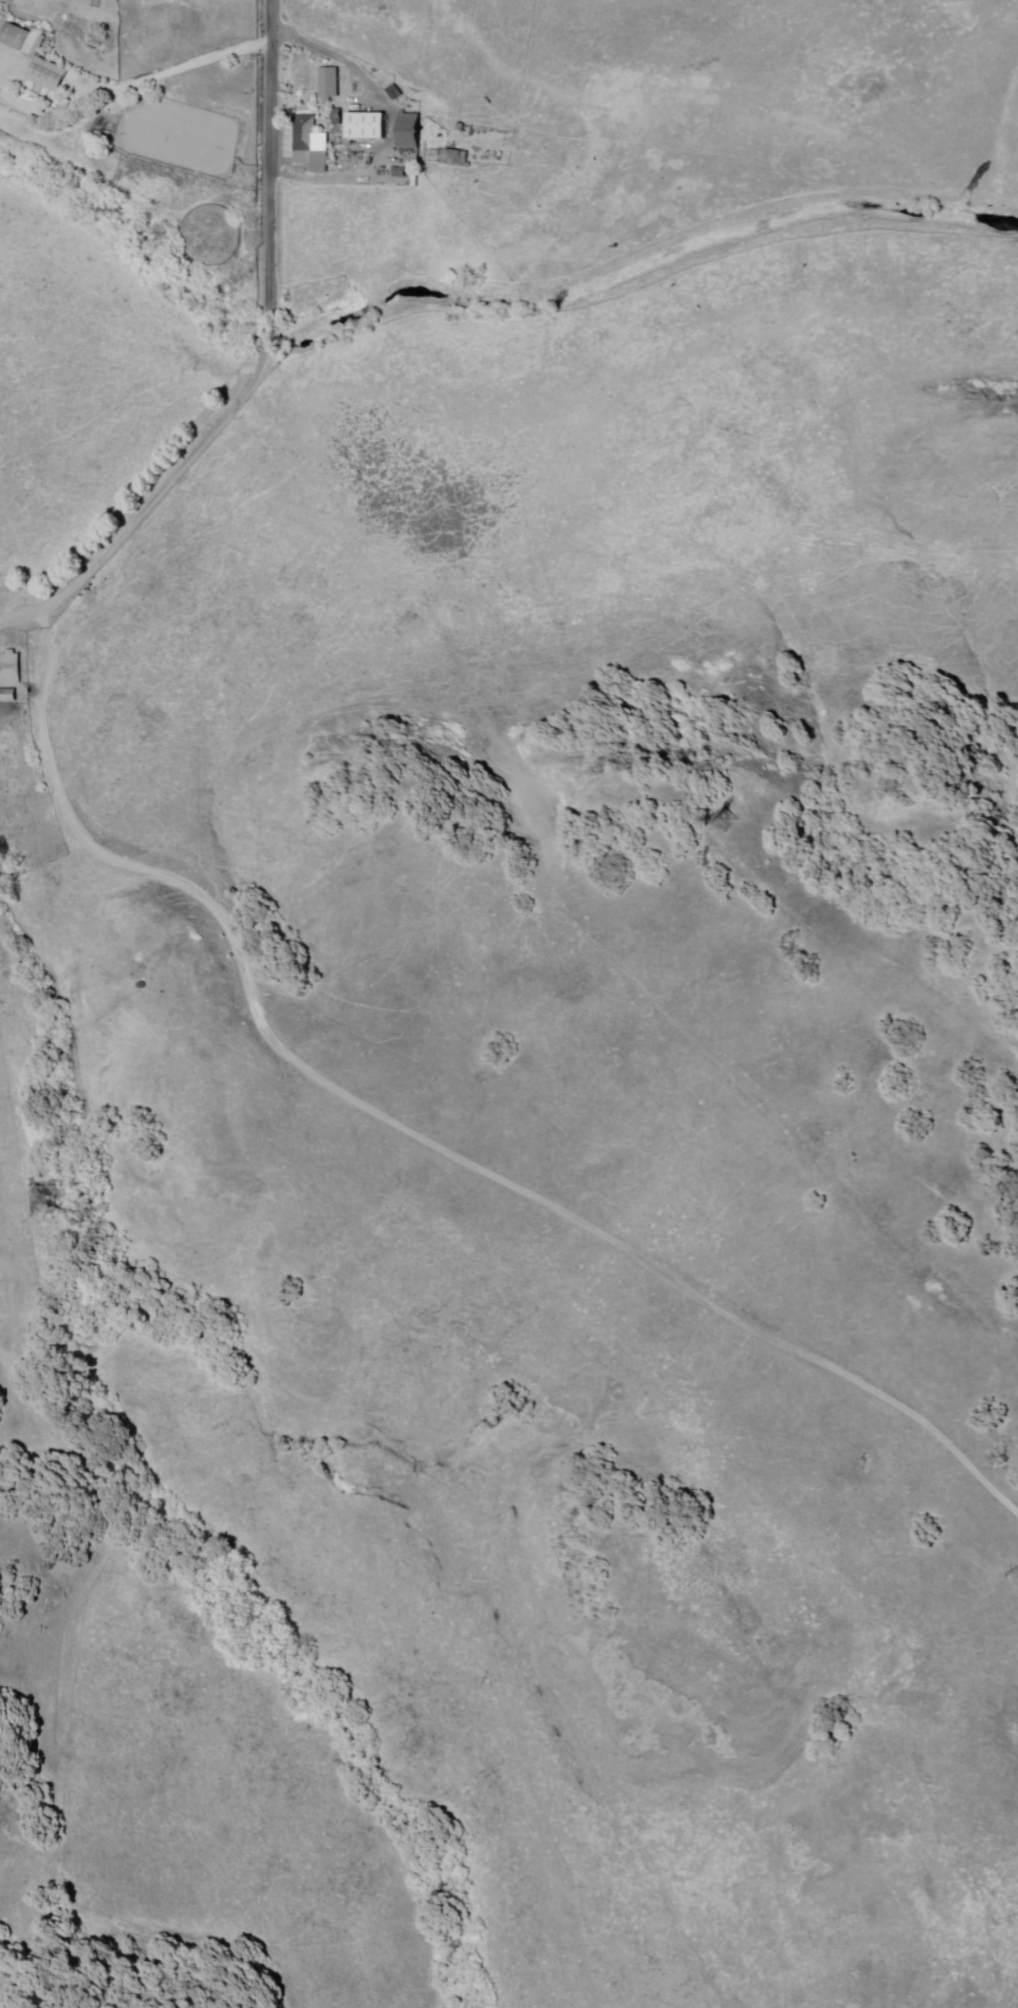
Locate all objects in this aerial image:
building: (20, 38)
building: (49, 75)
road: (129, 84)
building: (332, 84)
building: (369, 127)
building: (413, 132)
building: (313, 145)
building: (449, 157)
road: (267, 158)
road: (267, 321)
road: (269, 337)
road: (21, 620)
building: (11, 667)
building: (9, 693)
power tower: (717, 818)
road: (275, 1042)
road: (1008, 1995)

